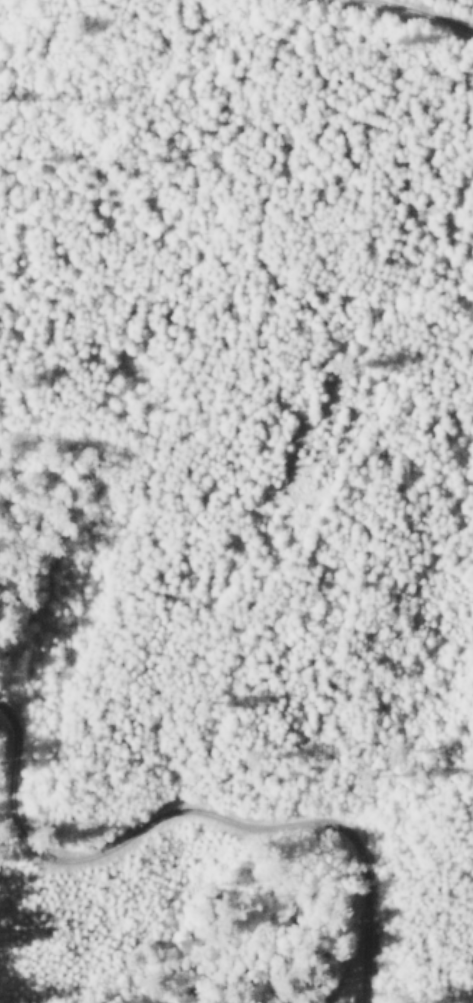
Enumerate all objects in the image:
road: (239, 355)
road: (173, 863)

